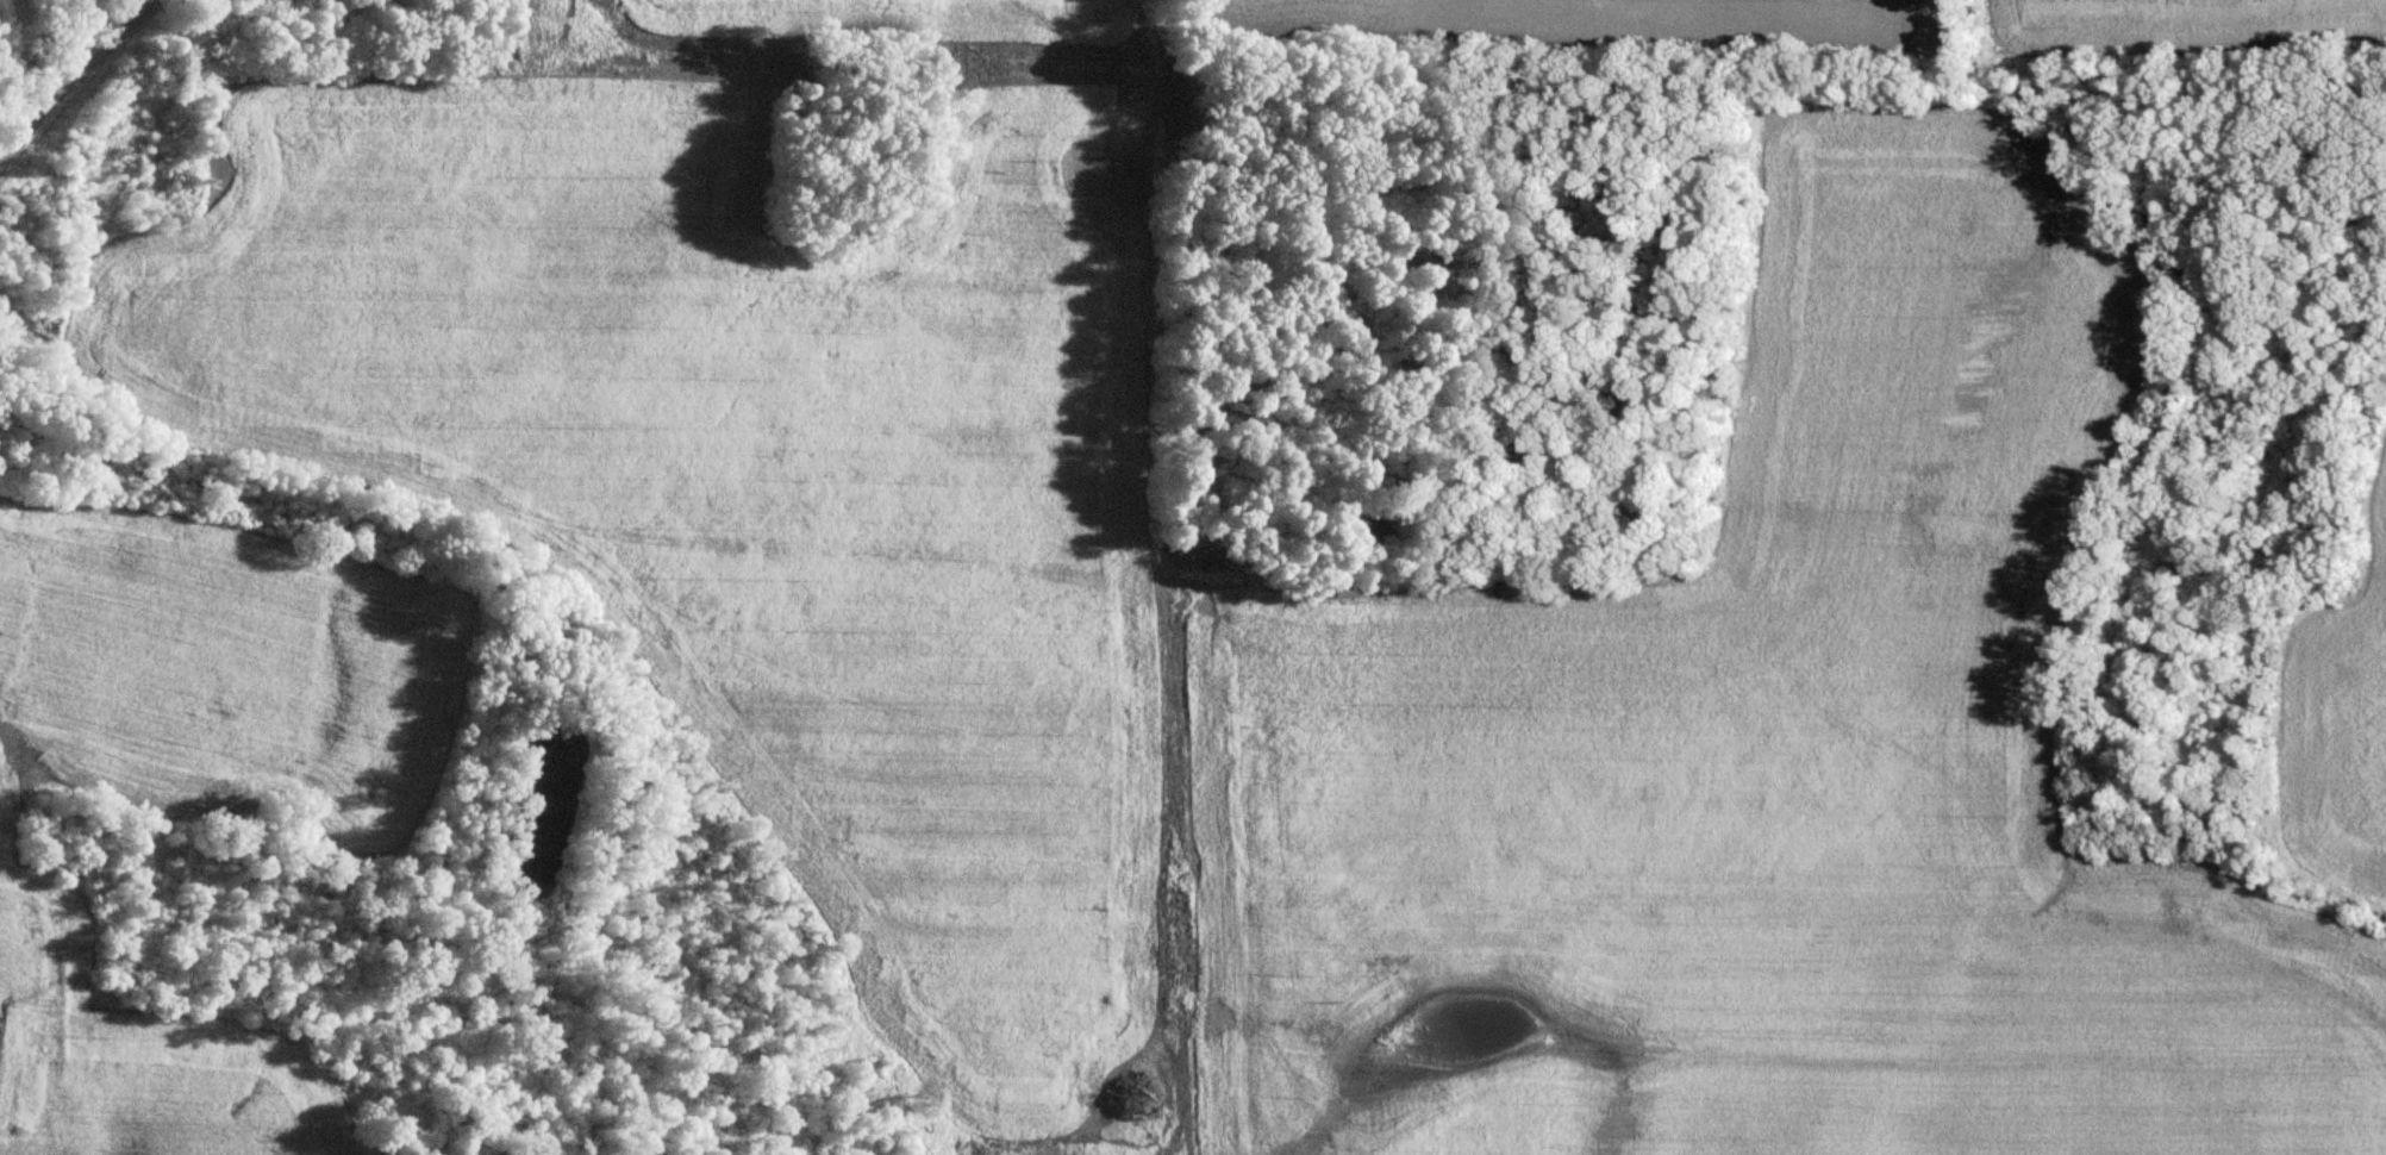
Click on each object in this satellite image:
river: (6, 1)
road: (73, 69)

